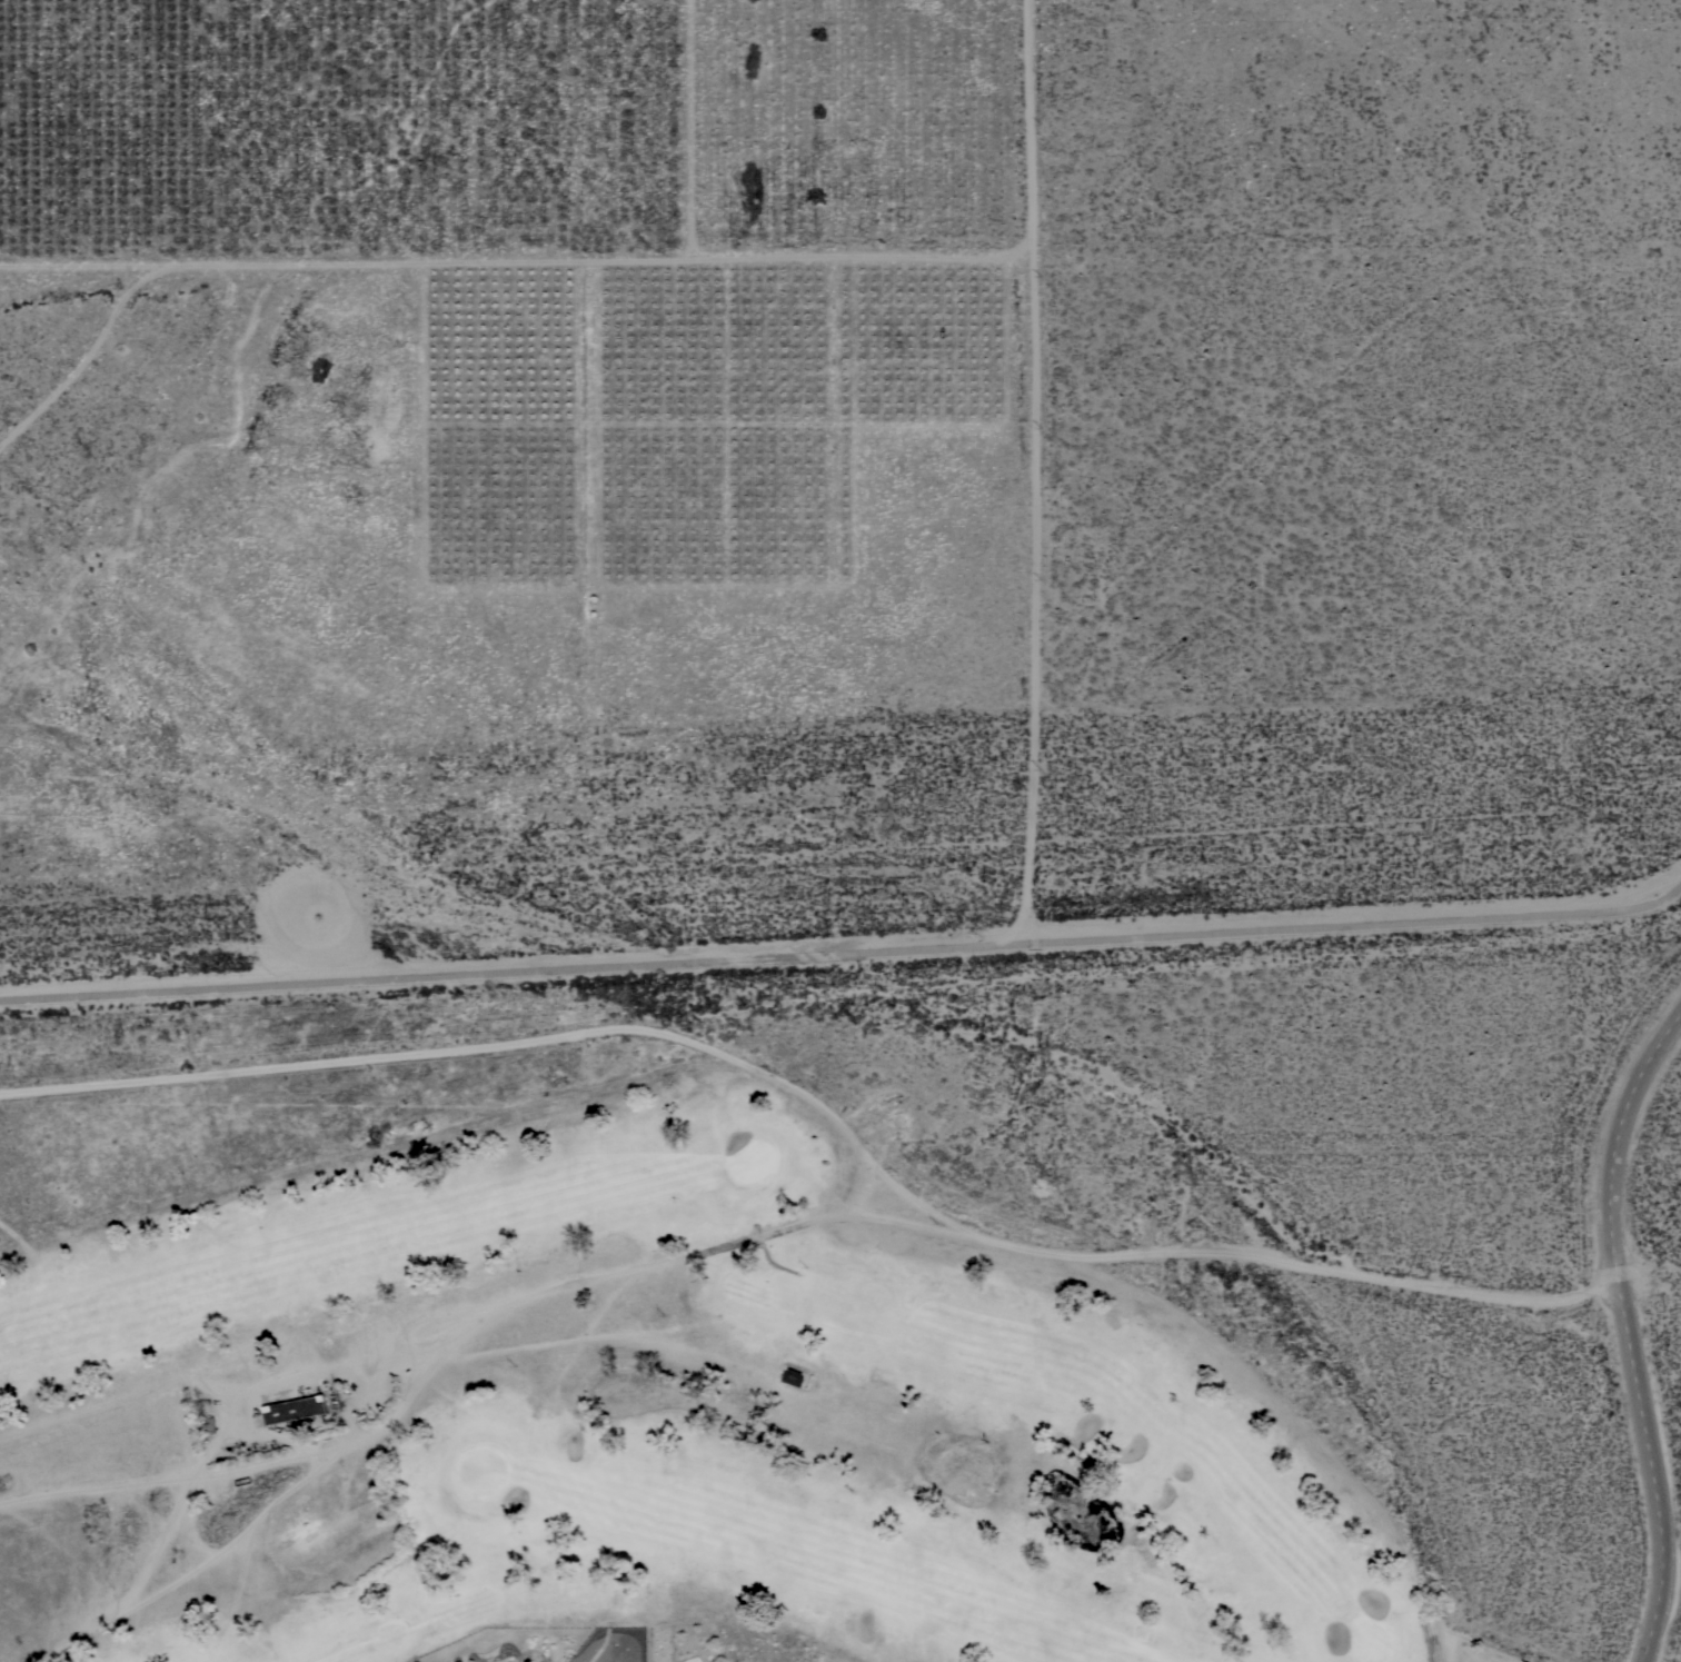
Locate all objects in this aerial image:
crop: (520, 135)
road: (826, 1112)
road: (658, 1263)
road: (1627, 1330)
building: (793, 1376)
building: (295, 1409)
park: (641, 1427)

